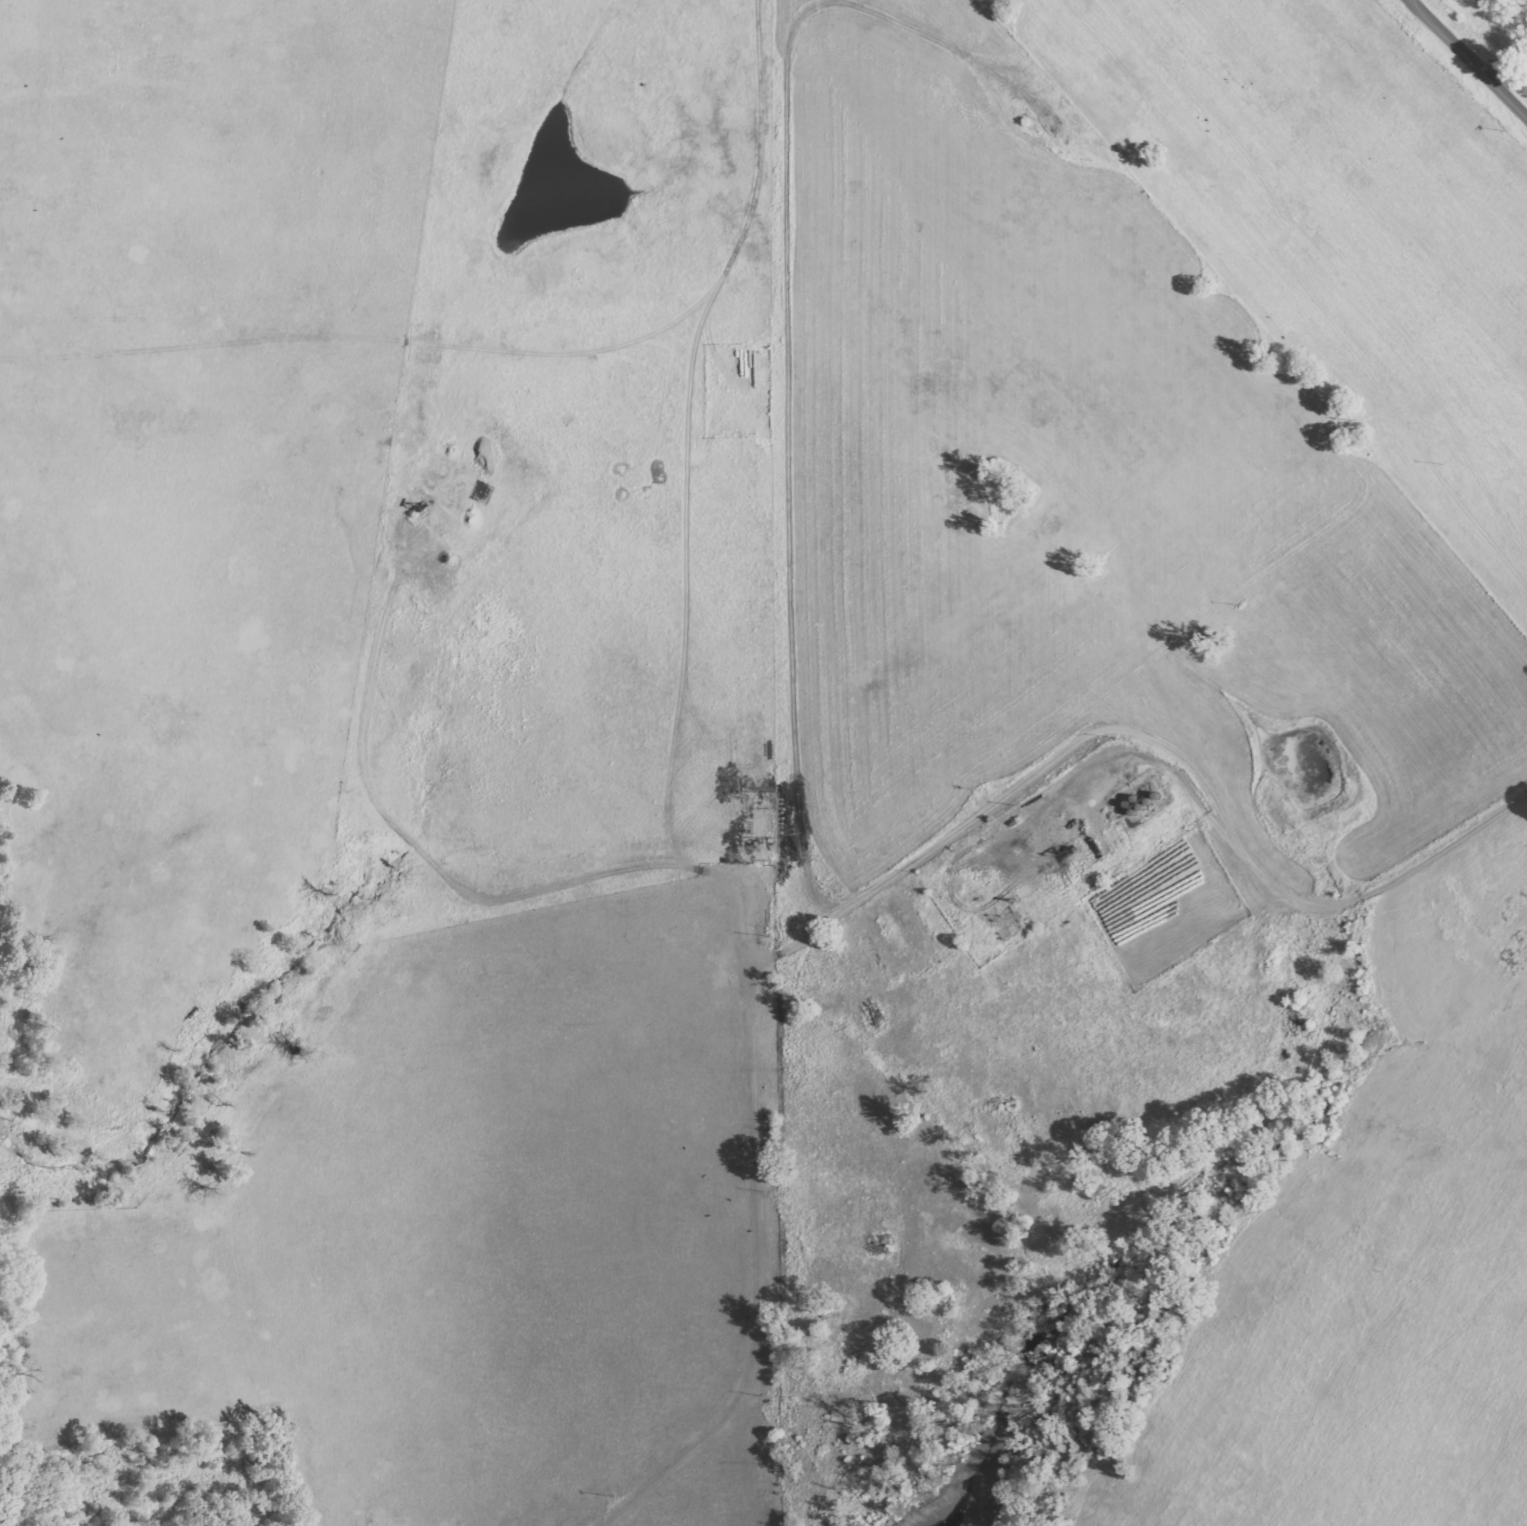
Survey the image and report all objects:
road: (1468, 58)
road: (1395, 345)

